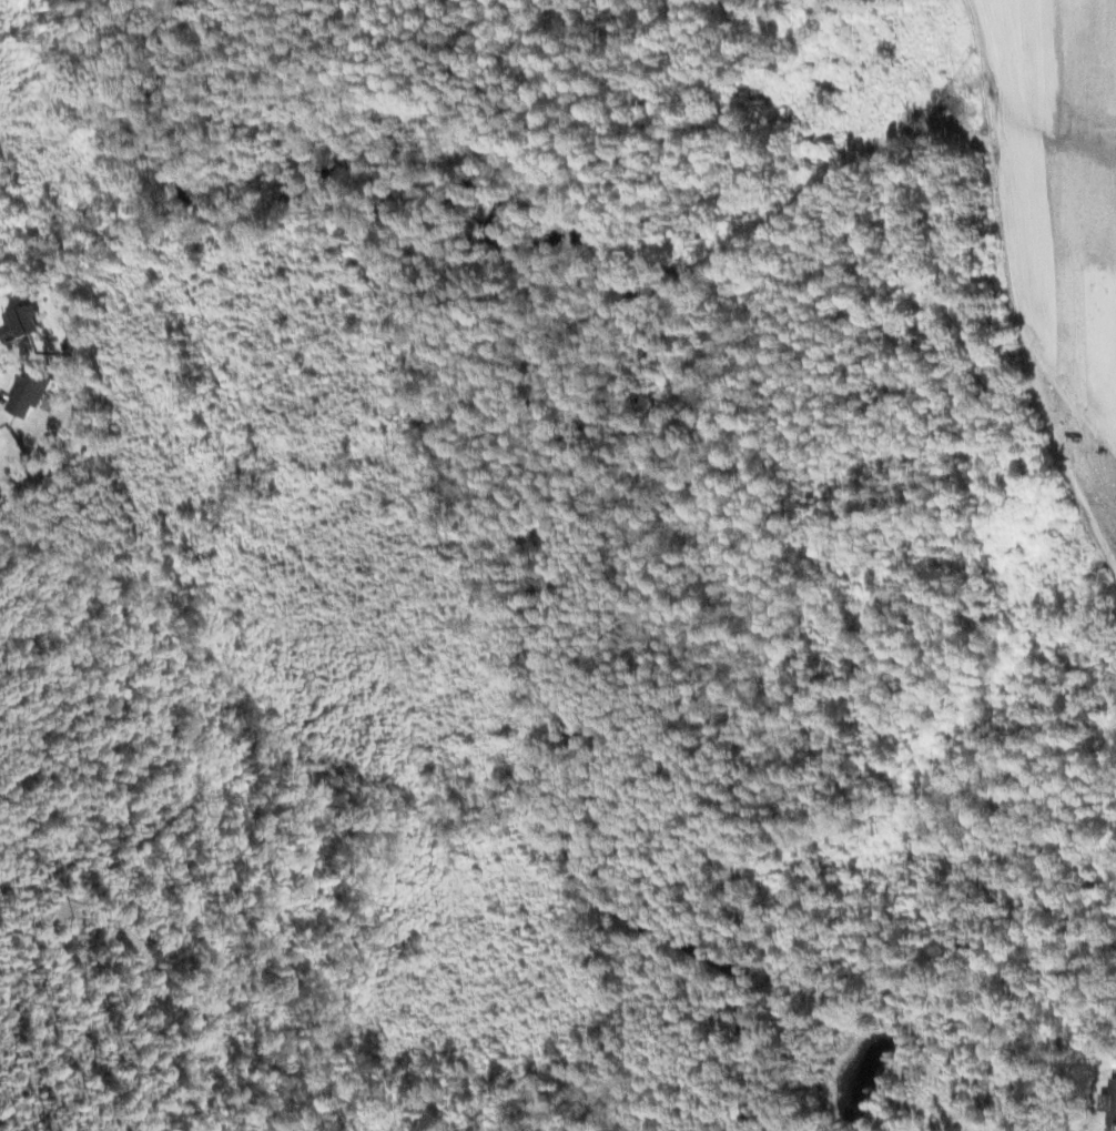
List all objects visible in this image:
building: (24, 322)
building: (30, 391)
building: (1110, 1099)
building: (1114, 1123)

